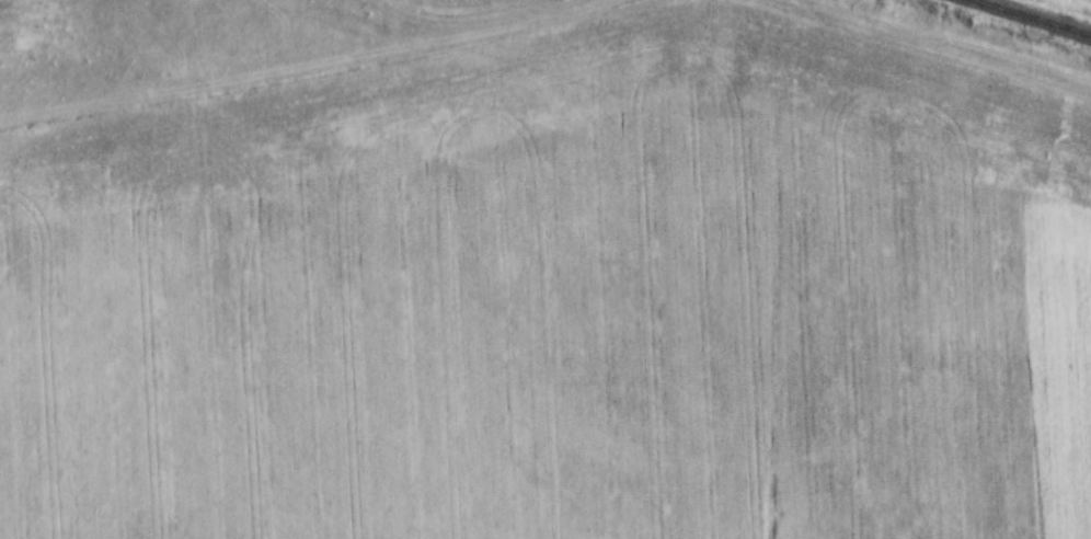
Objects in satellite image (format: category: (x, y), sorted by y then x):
railway: (1030, 18)
road: (920, 58)

